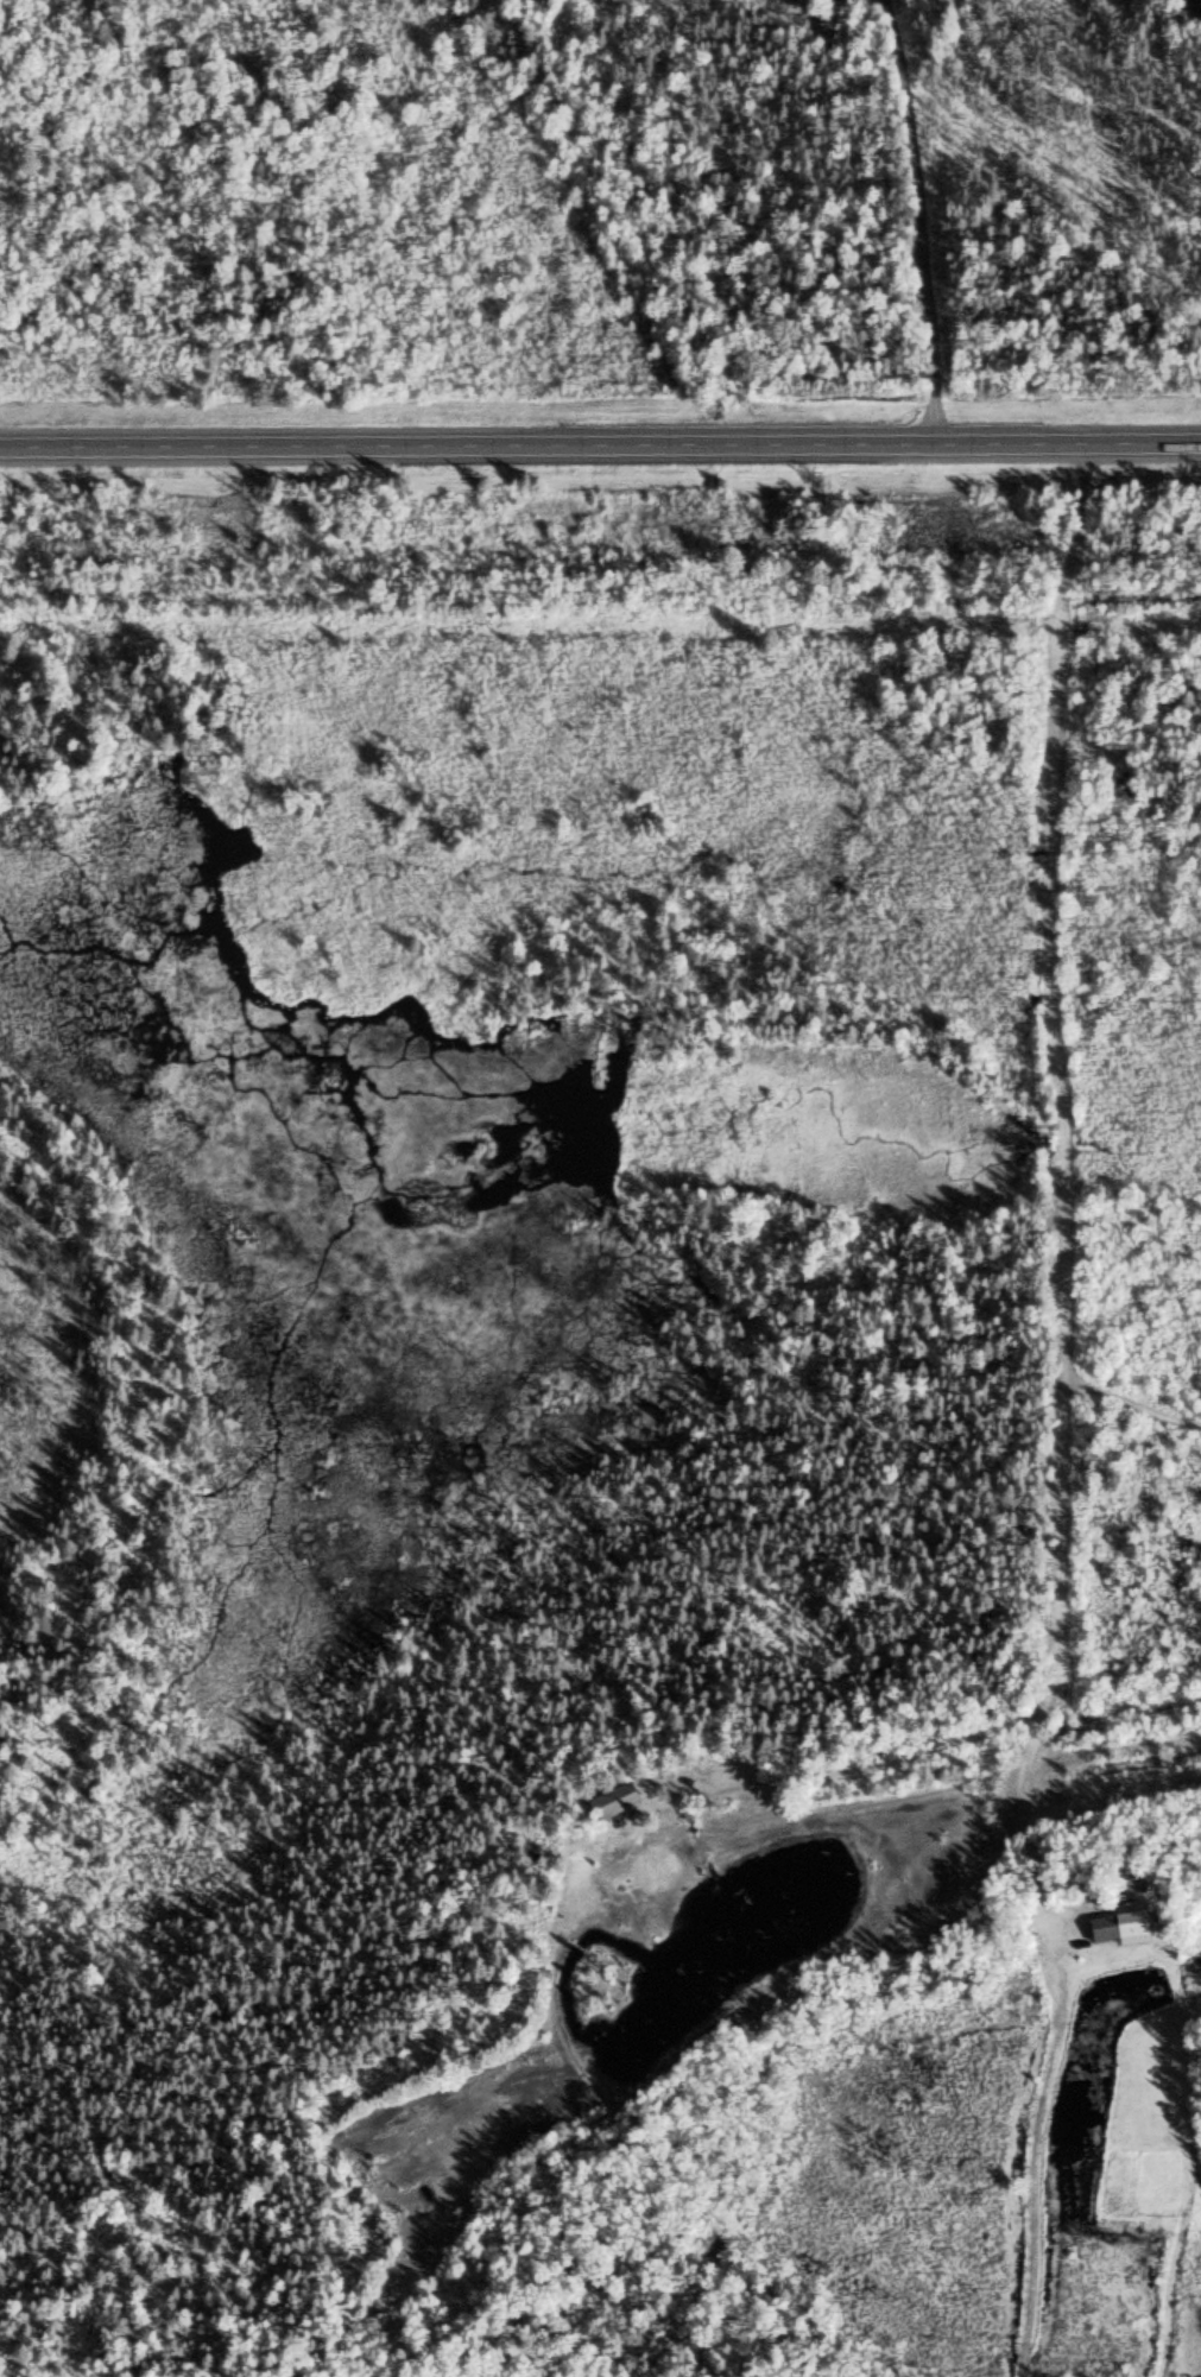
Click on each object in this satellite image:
building: (805, 1)
road: (915, 219)
road: (600, 438)
road: (1048, 1190)
building: (612, 1801)
building: (1118, 1927)

